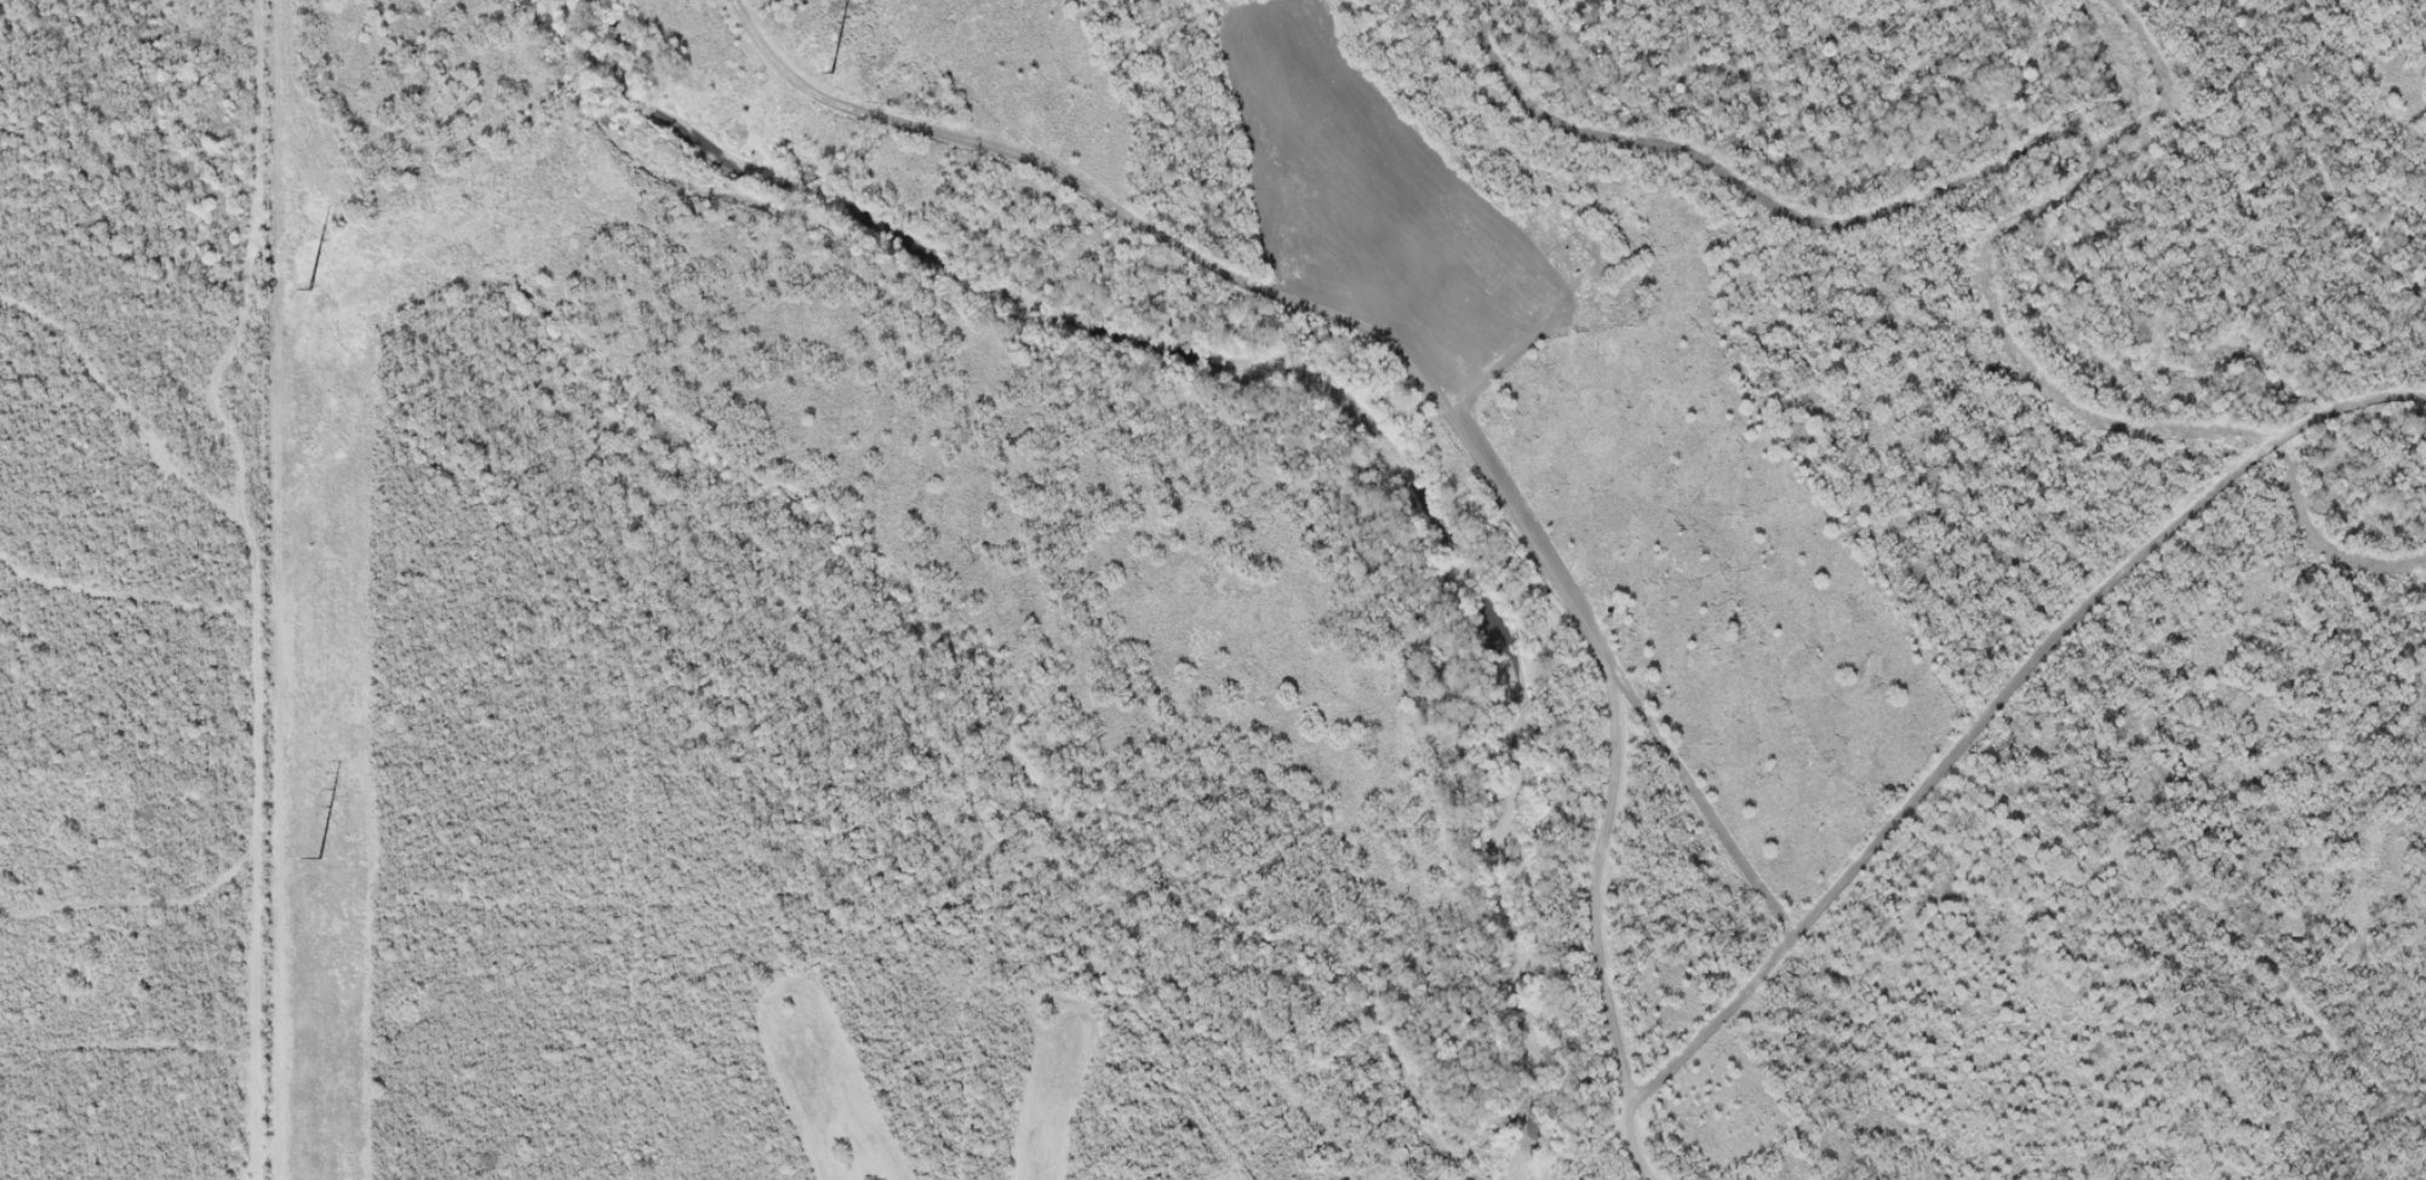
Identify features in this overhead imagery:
power tower: (829, 69)
power tower: (307, 286)
river: (1324, 390)
power tower: (315, 858)

